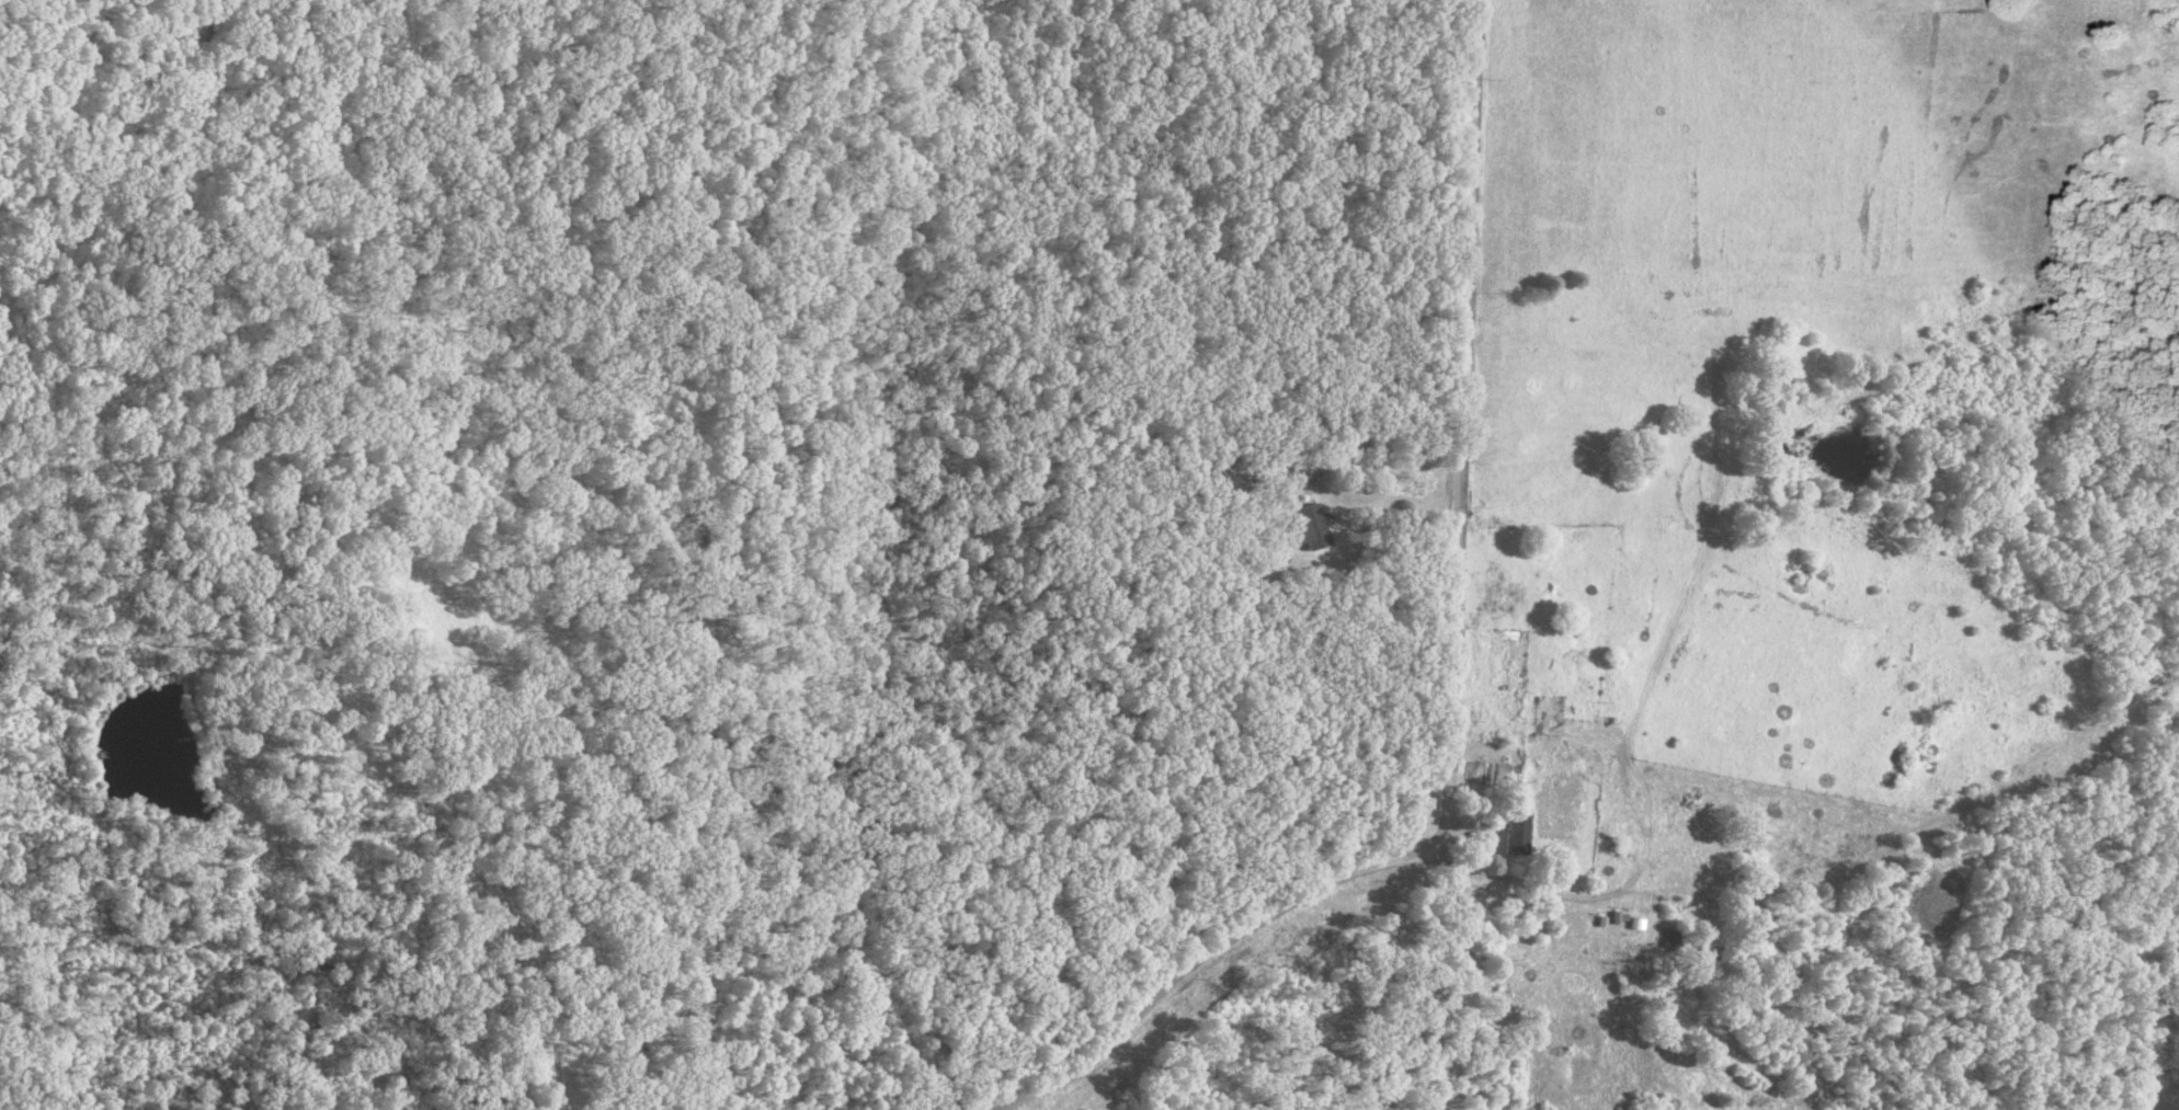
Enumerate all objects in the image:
road: (1454, 680)
building: (1517, 833)
building: (1673, 940)

